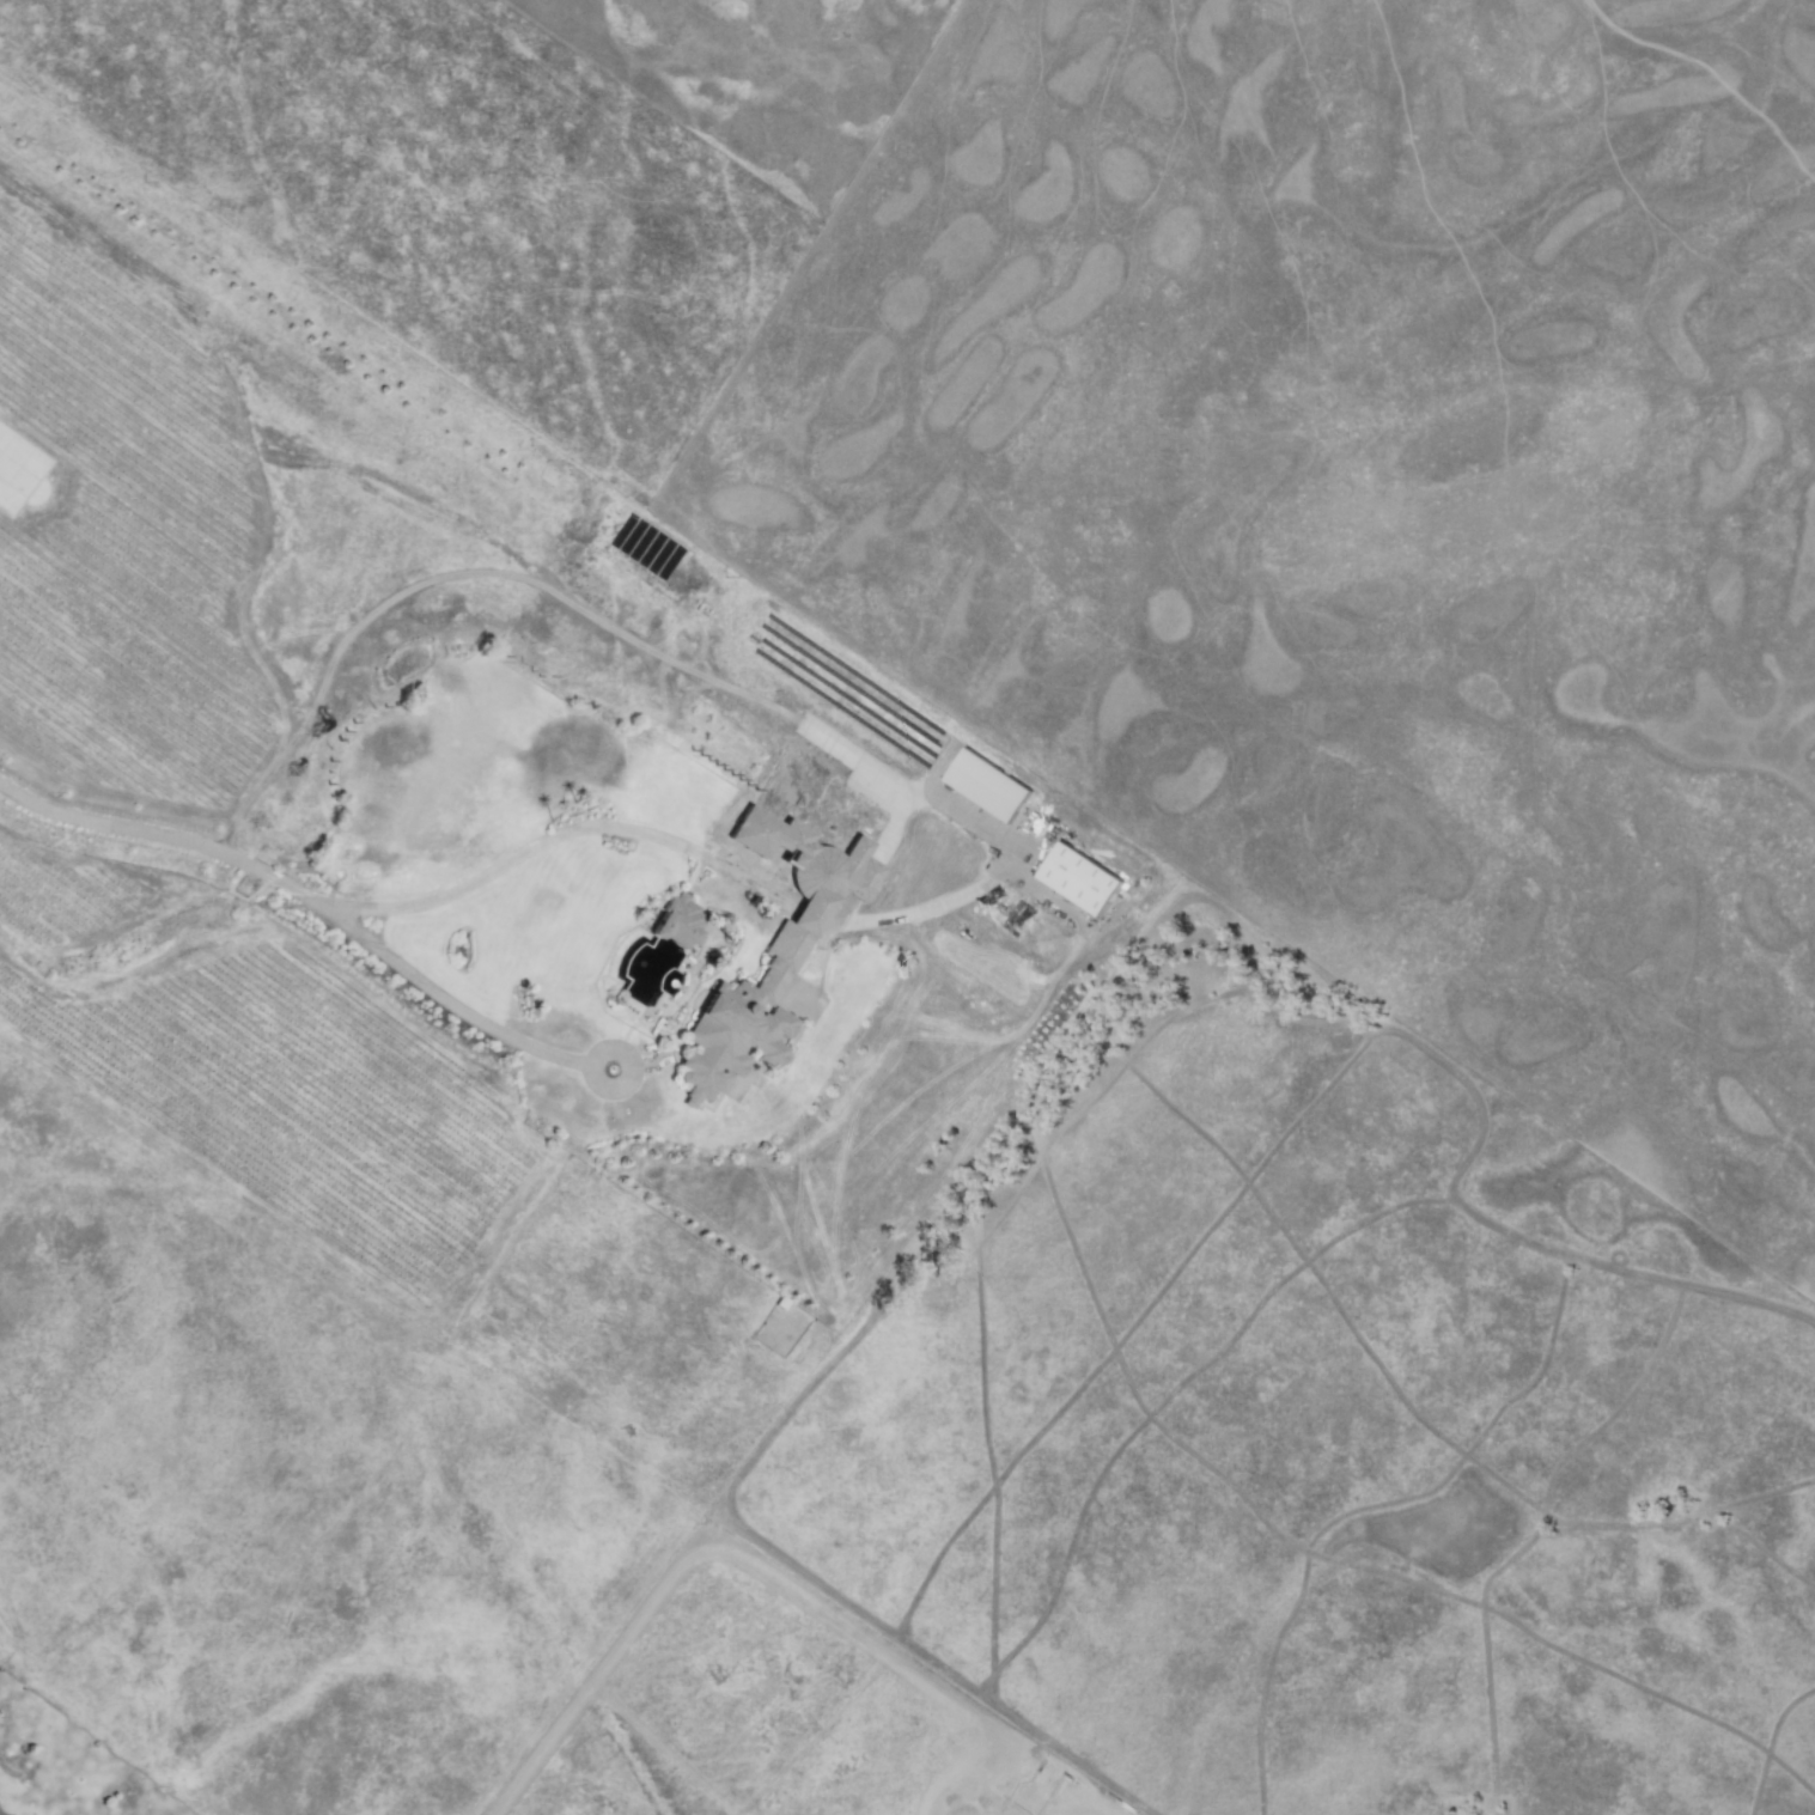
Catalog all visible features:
building: (986, 785)
road: (528, 848)
building: (1078, 879)
road: (316, 906)
building: (677, 922)
building: (771, 956)
road: (967, 1811)

